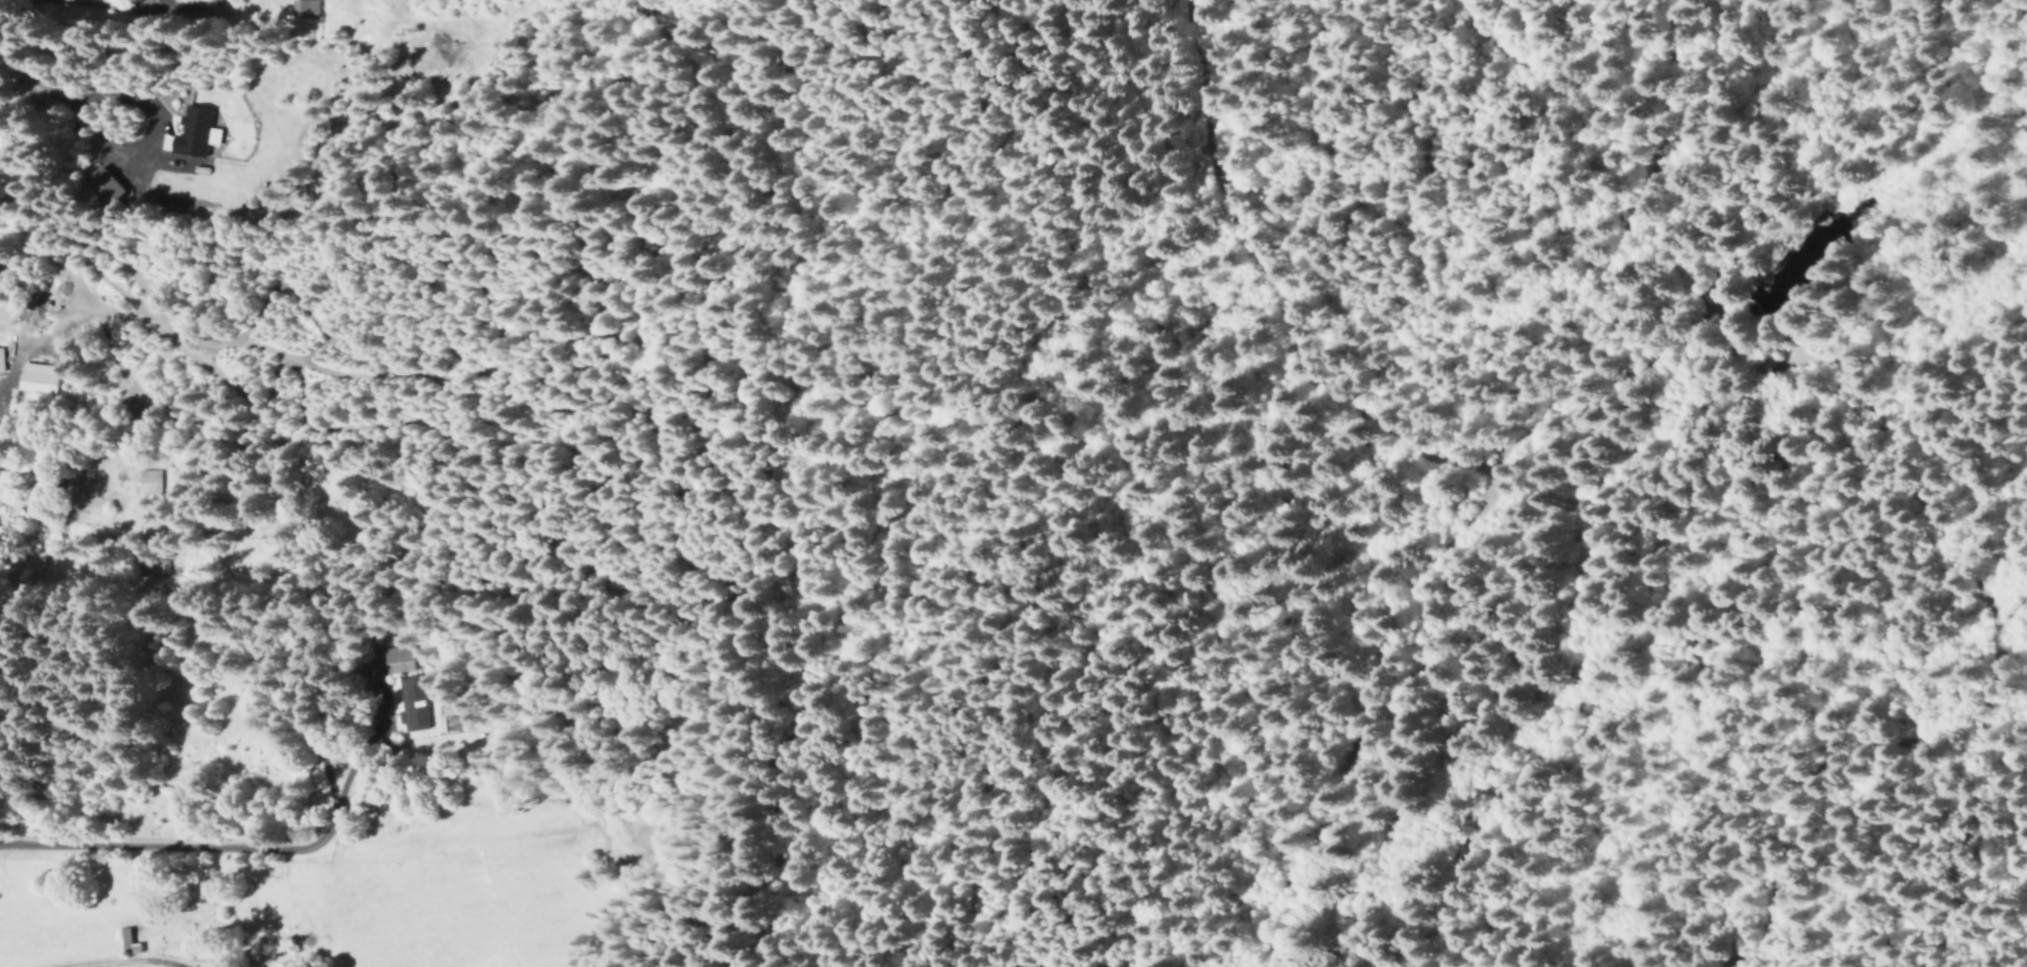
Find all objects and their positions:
building: (217, 3)
building: (307, 8)
road: (44, 13)
building: (198, 131)
building: (110, 183)
building: (2, 359)
building: (42, 377)
building: (50, 474)
building: (150, 481)
building: (0, 516)
road: (1365, 563)
building: (397, 654)
building: (398, 666)
building: (412, 702)
building: (365, 783)
building: (130, 940)
road: (129, 962)

